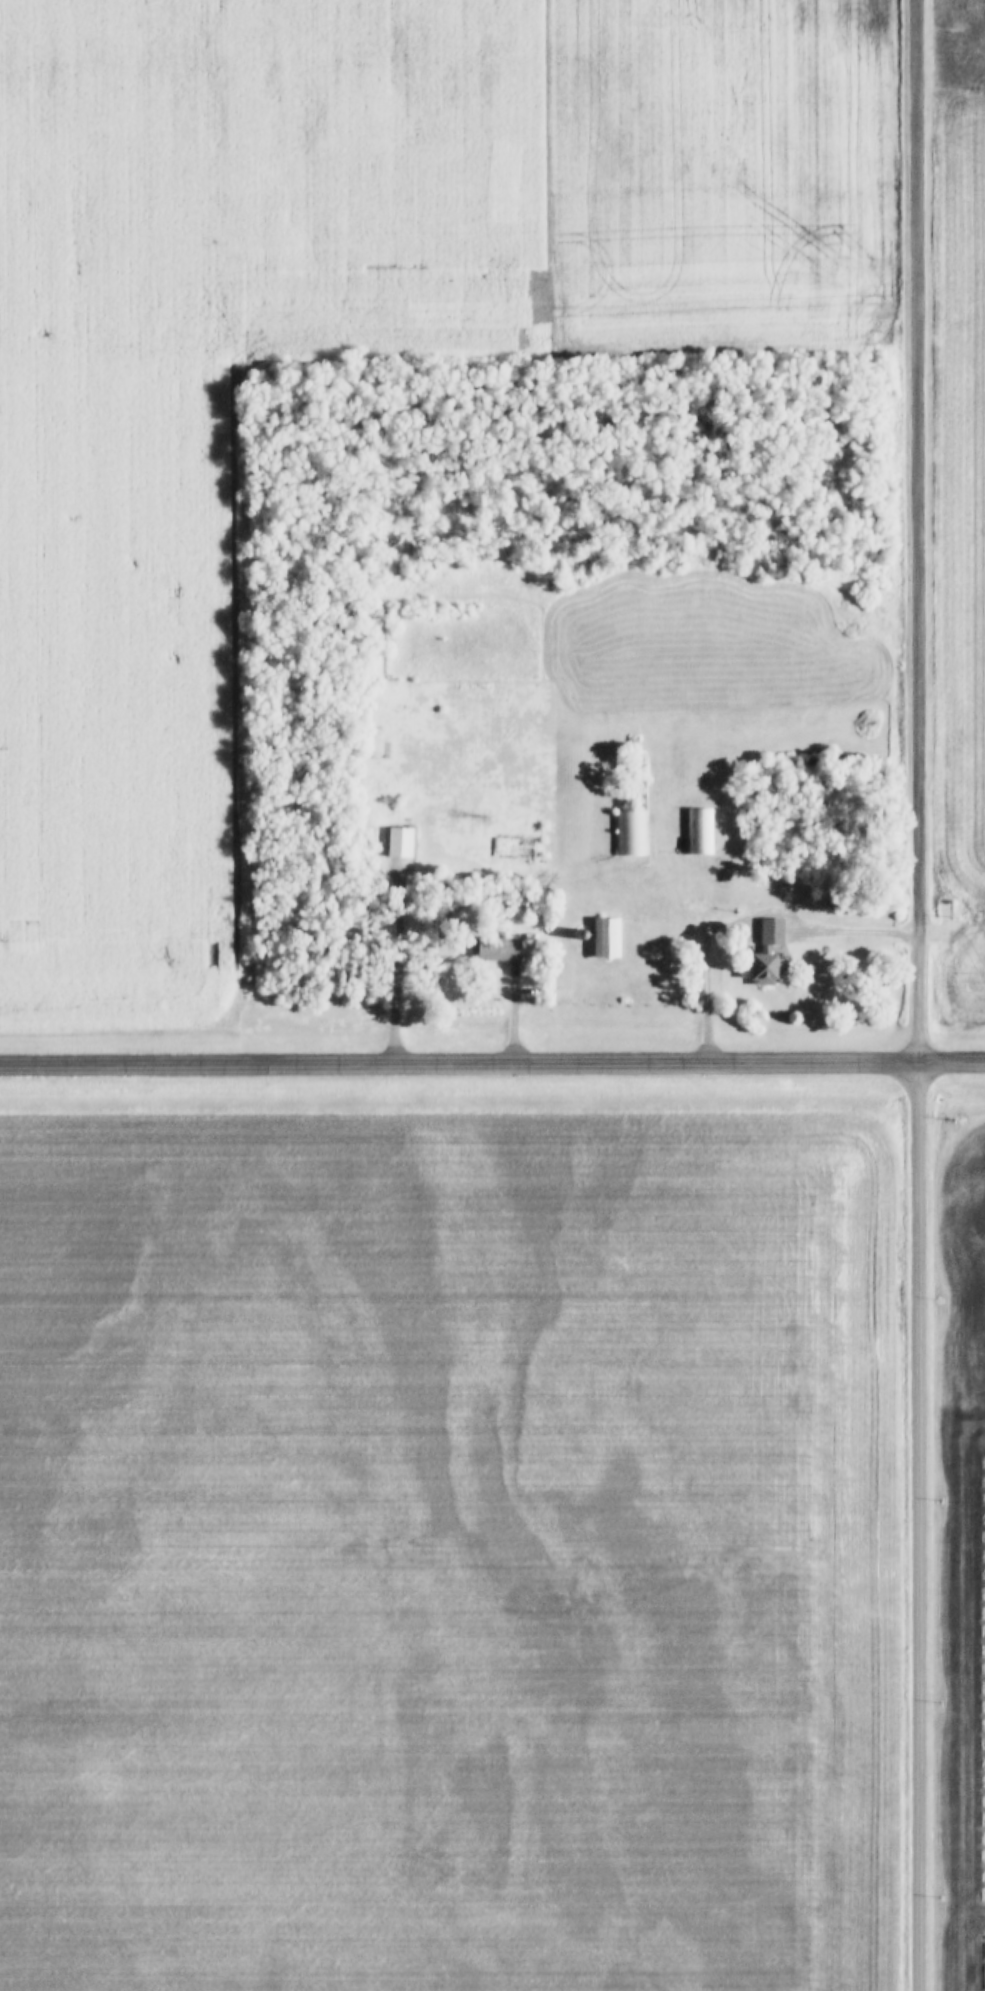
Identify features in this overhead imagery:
road: (923, 471)
building: (698, 832)
building: (399, 843)
road: (751, 926)
building: (604, 939)
building: (496, 949)
building: (766, 969)
road: (920, 1002)
road: (492, 1065)
road: (924, 1526)

